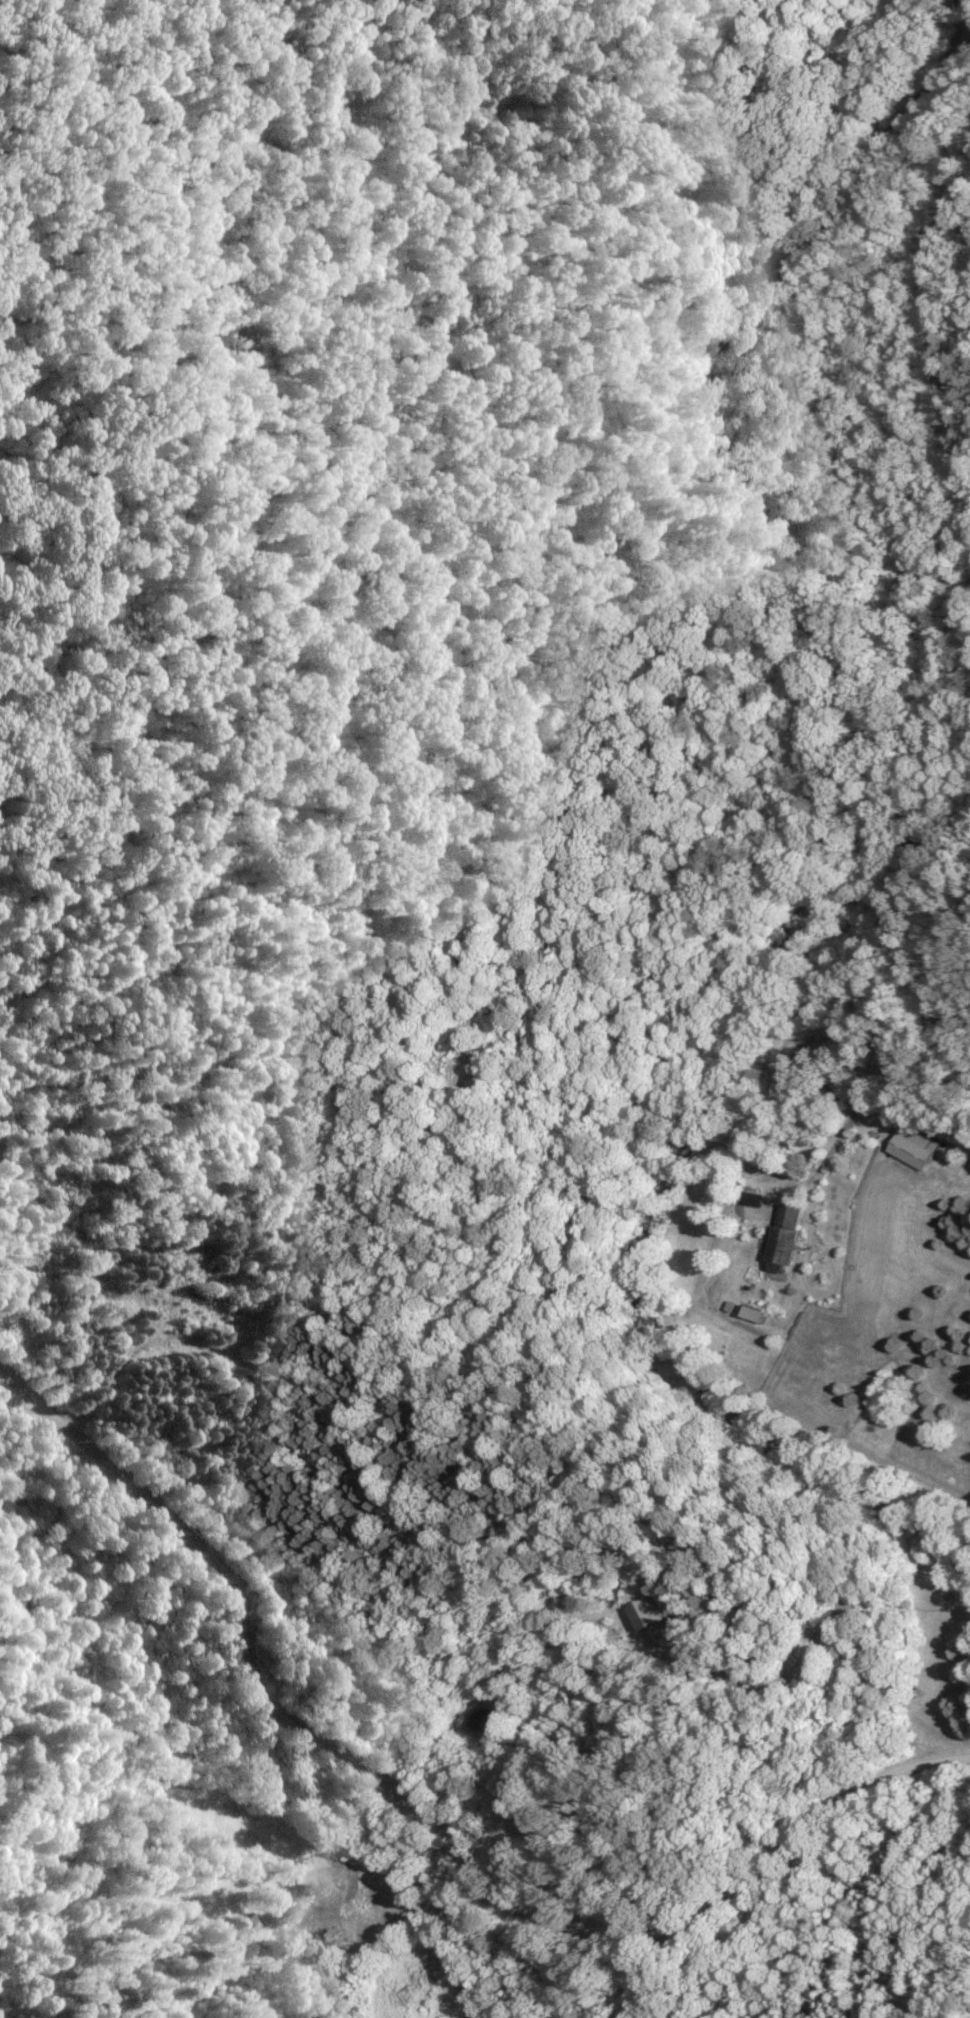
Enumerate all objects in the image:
road: (937, 327)
road: (940, 978)
road: (850, 1119)
building: (908, 1147)
building: (779, 1234)
building: (747, 1313)
building: (646, 1612)
road: (437, 1818)

